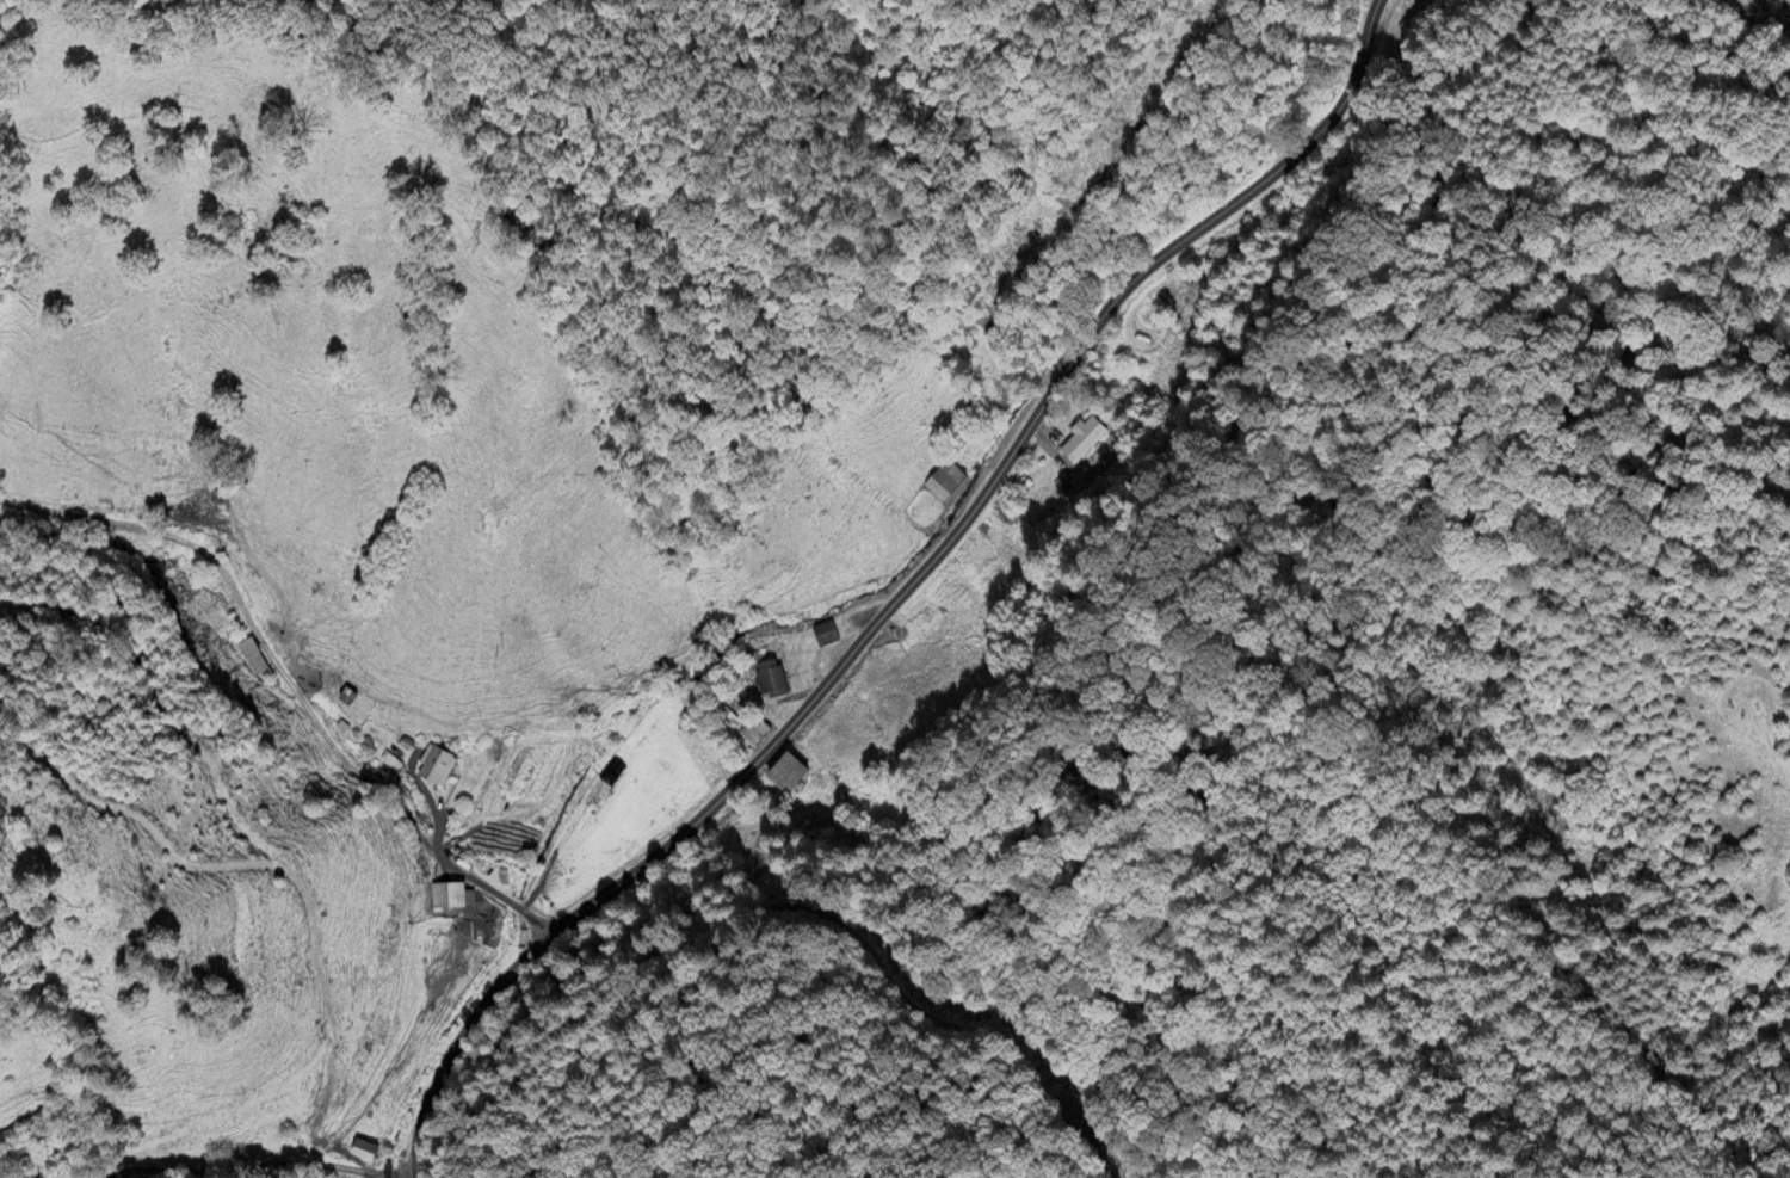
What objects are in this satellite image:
building: (1081, 442)
building: (945, 483)
road: (901, 594)
building: (825, 636)
building: (254, 662)
building: (765, 683)
building: (754, 733)
building: (788, 775)
building: (447, 899)
building: (364, 1153)
road: (277, 1162)

